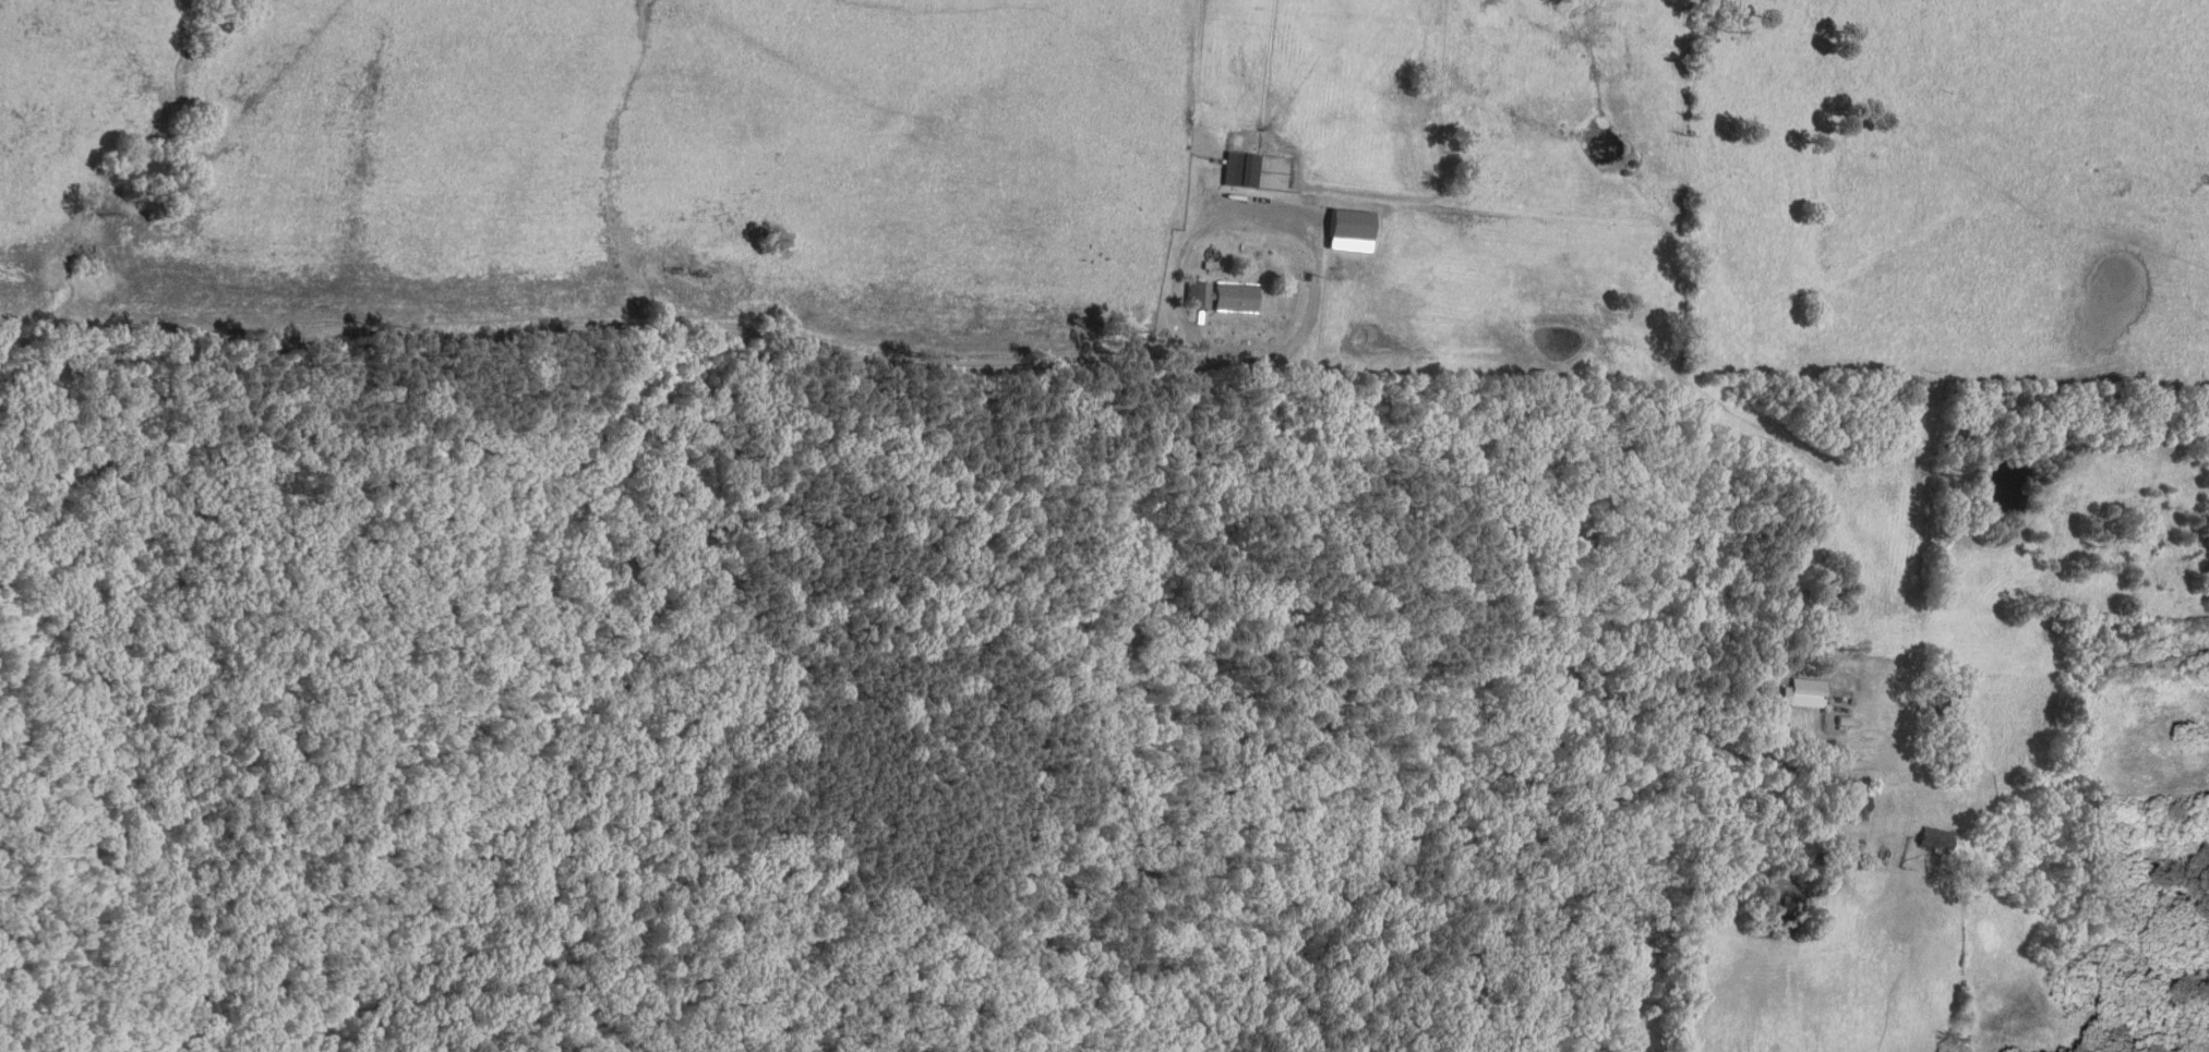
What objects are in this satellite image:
building: (1238, 168)
building: (1348, 231)
building: (1234, 297)
road: (1288, 402)
building: (1803, 691)
building: (1936, 841)

